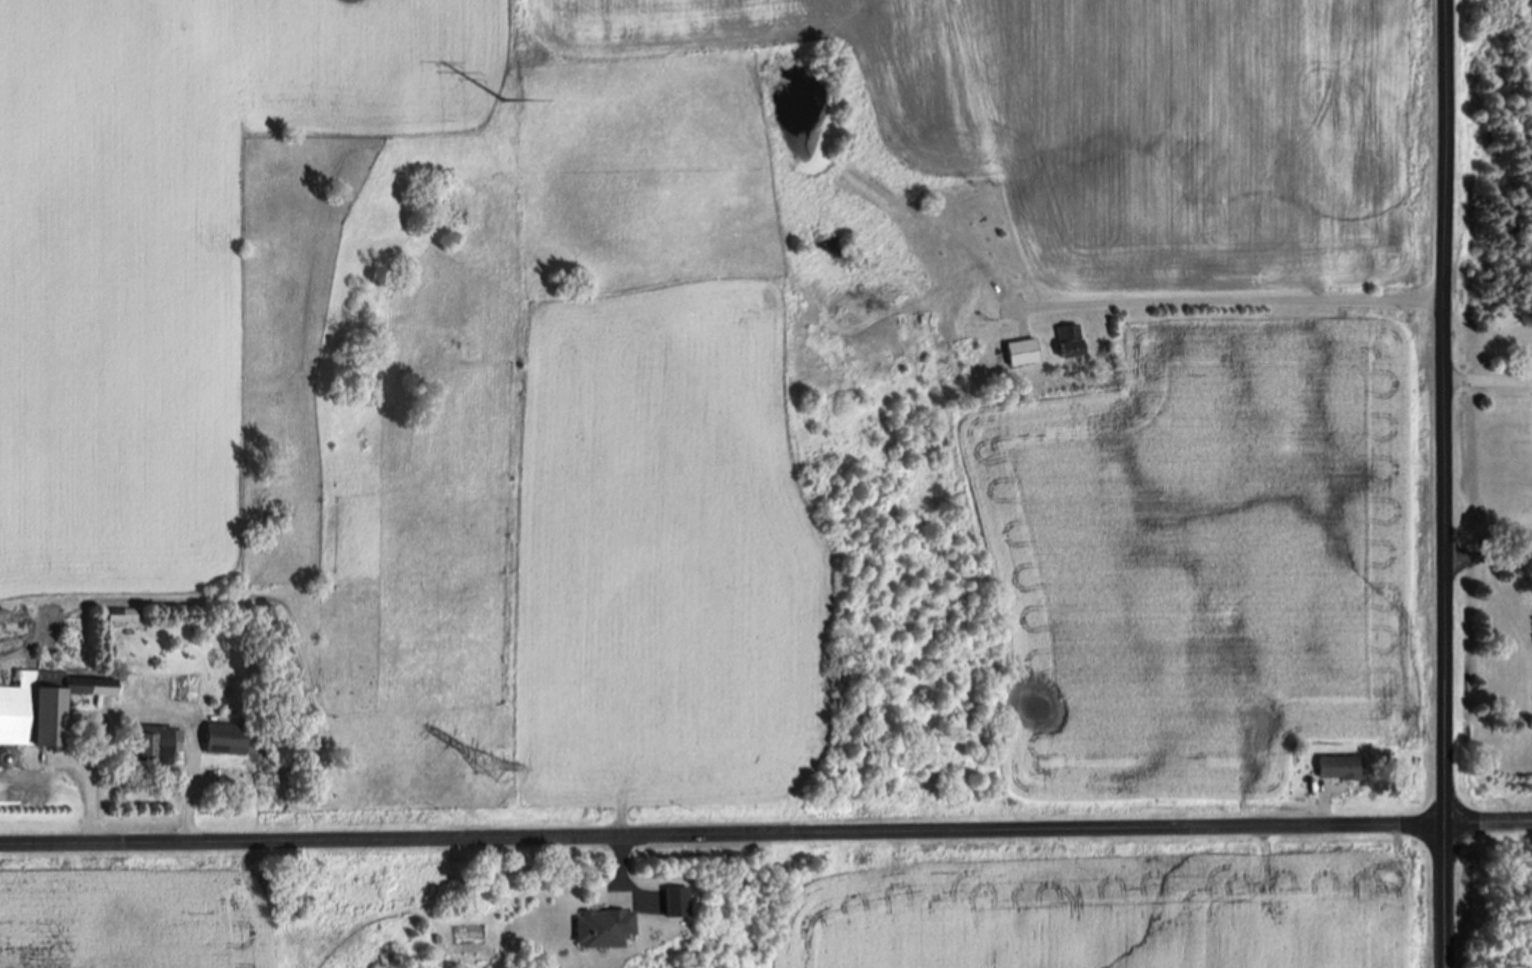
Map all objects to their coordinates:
power tower: (498, 99)
road: (1231, 301)
building: (1065, 342)
building: (1017, 353)
road: (1487, 380)
road: (1442, 483)
road: (1487, 557)
building: (45, 709)
building: (228, 741)
building: (161, 747)
power tower: (487, 767)
building: (1333, 768)
road: (191, 800)
road: (92, 803)
road: (1321, 813)
road: (766, 834)
road: (622, 862)
building: (672, 902)
building: (654, 904)
building: (599, 929)

